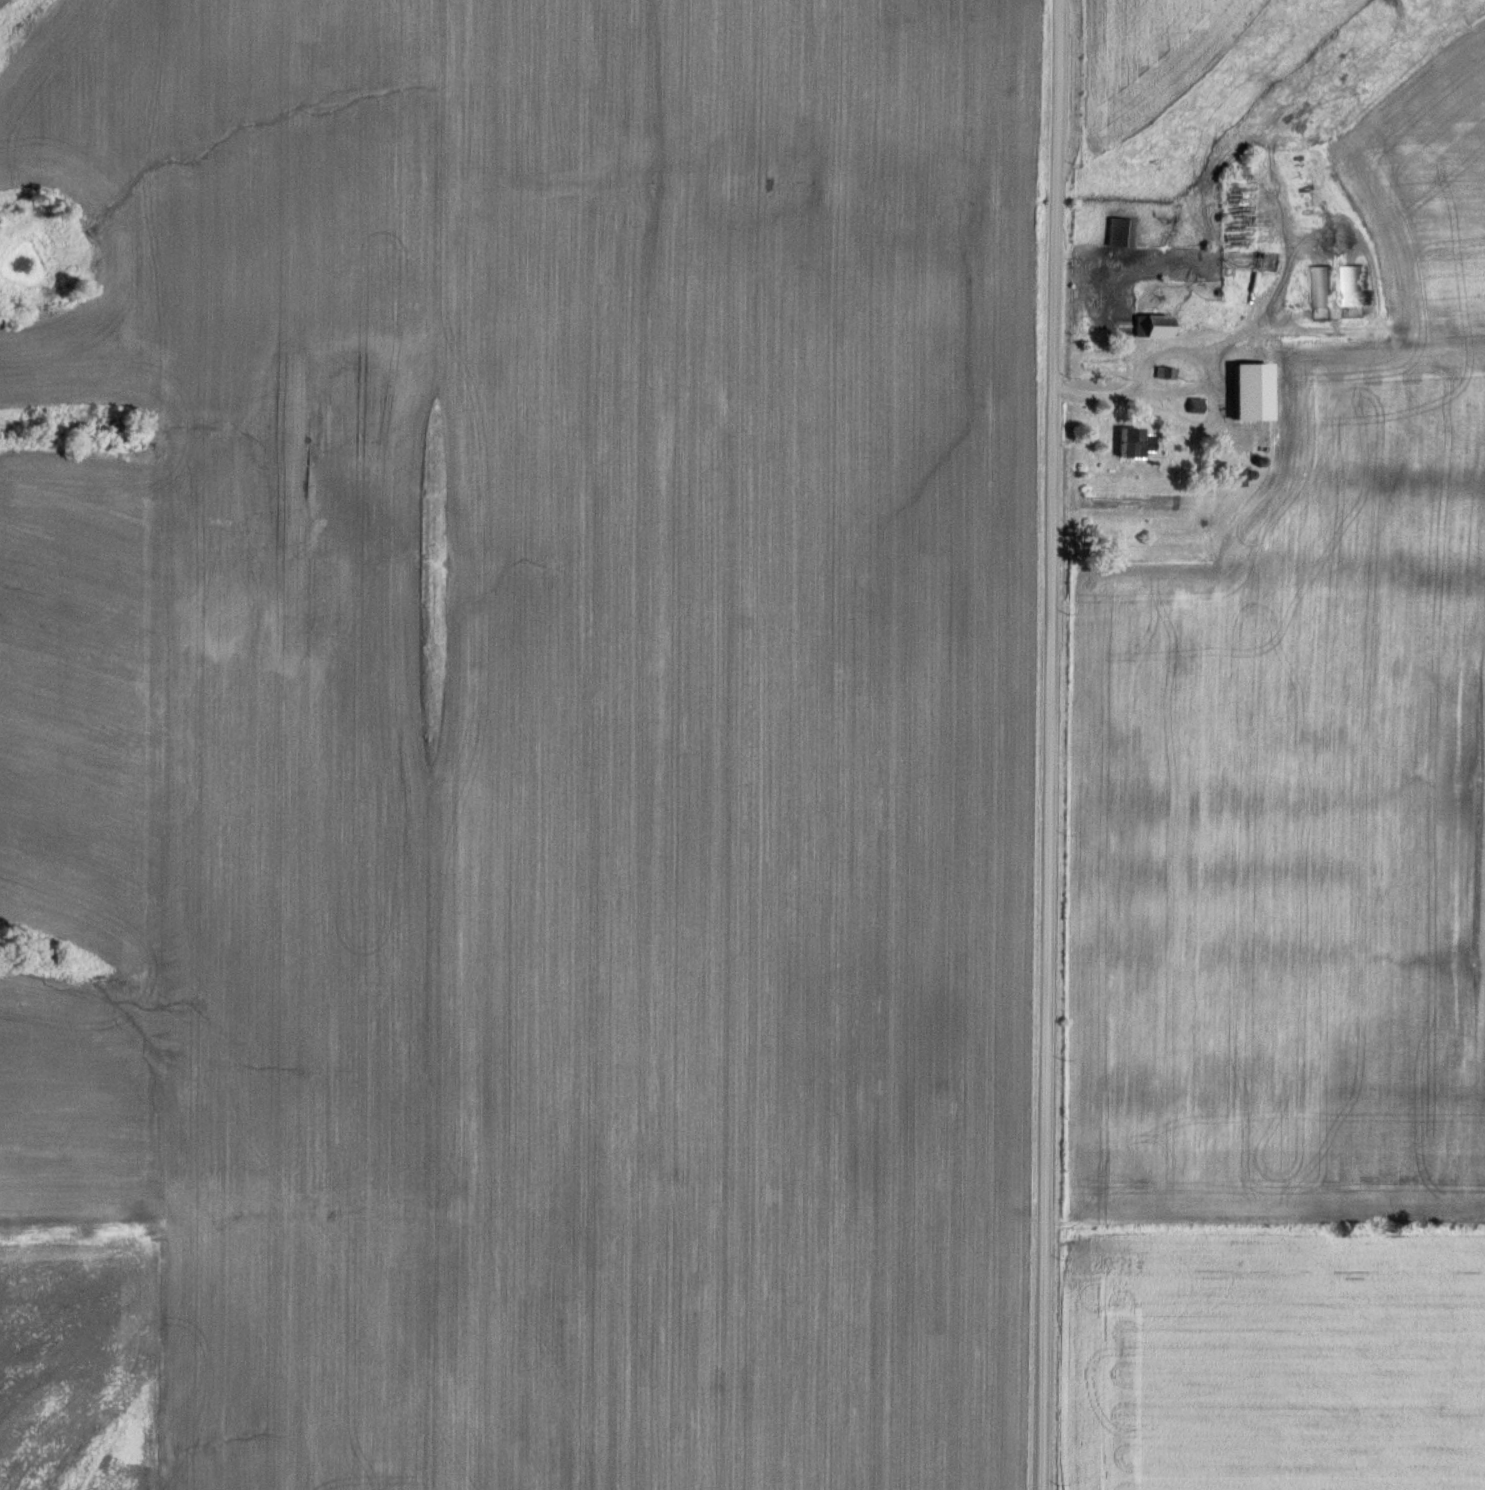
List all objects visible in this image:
building: (1119, 232)
building: (1351, 285)
building: (1318, 286)
building: (1151, 325)
building: (1242, 400)
building: (1128, 442)
road: (1048, 744)

